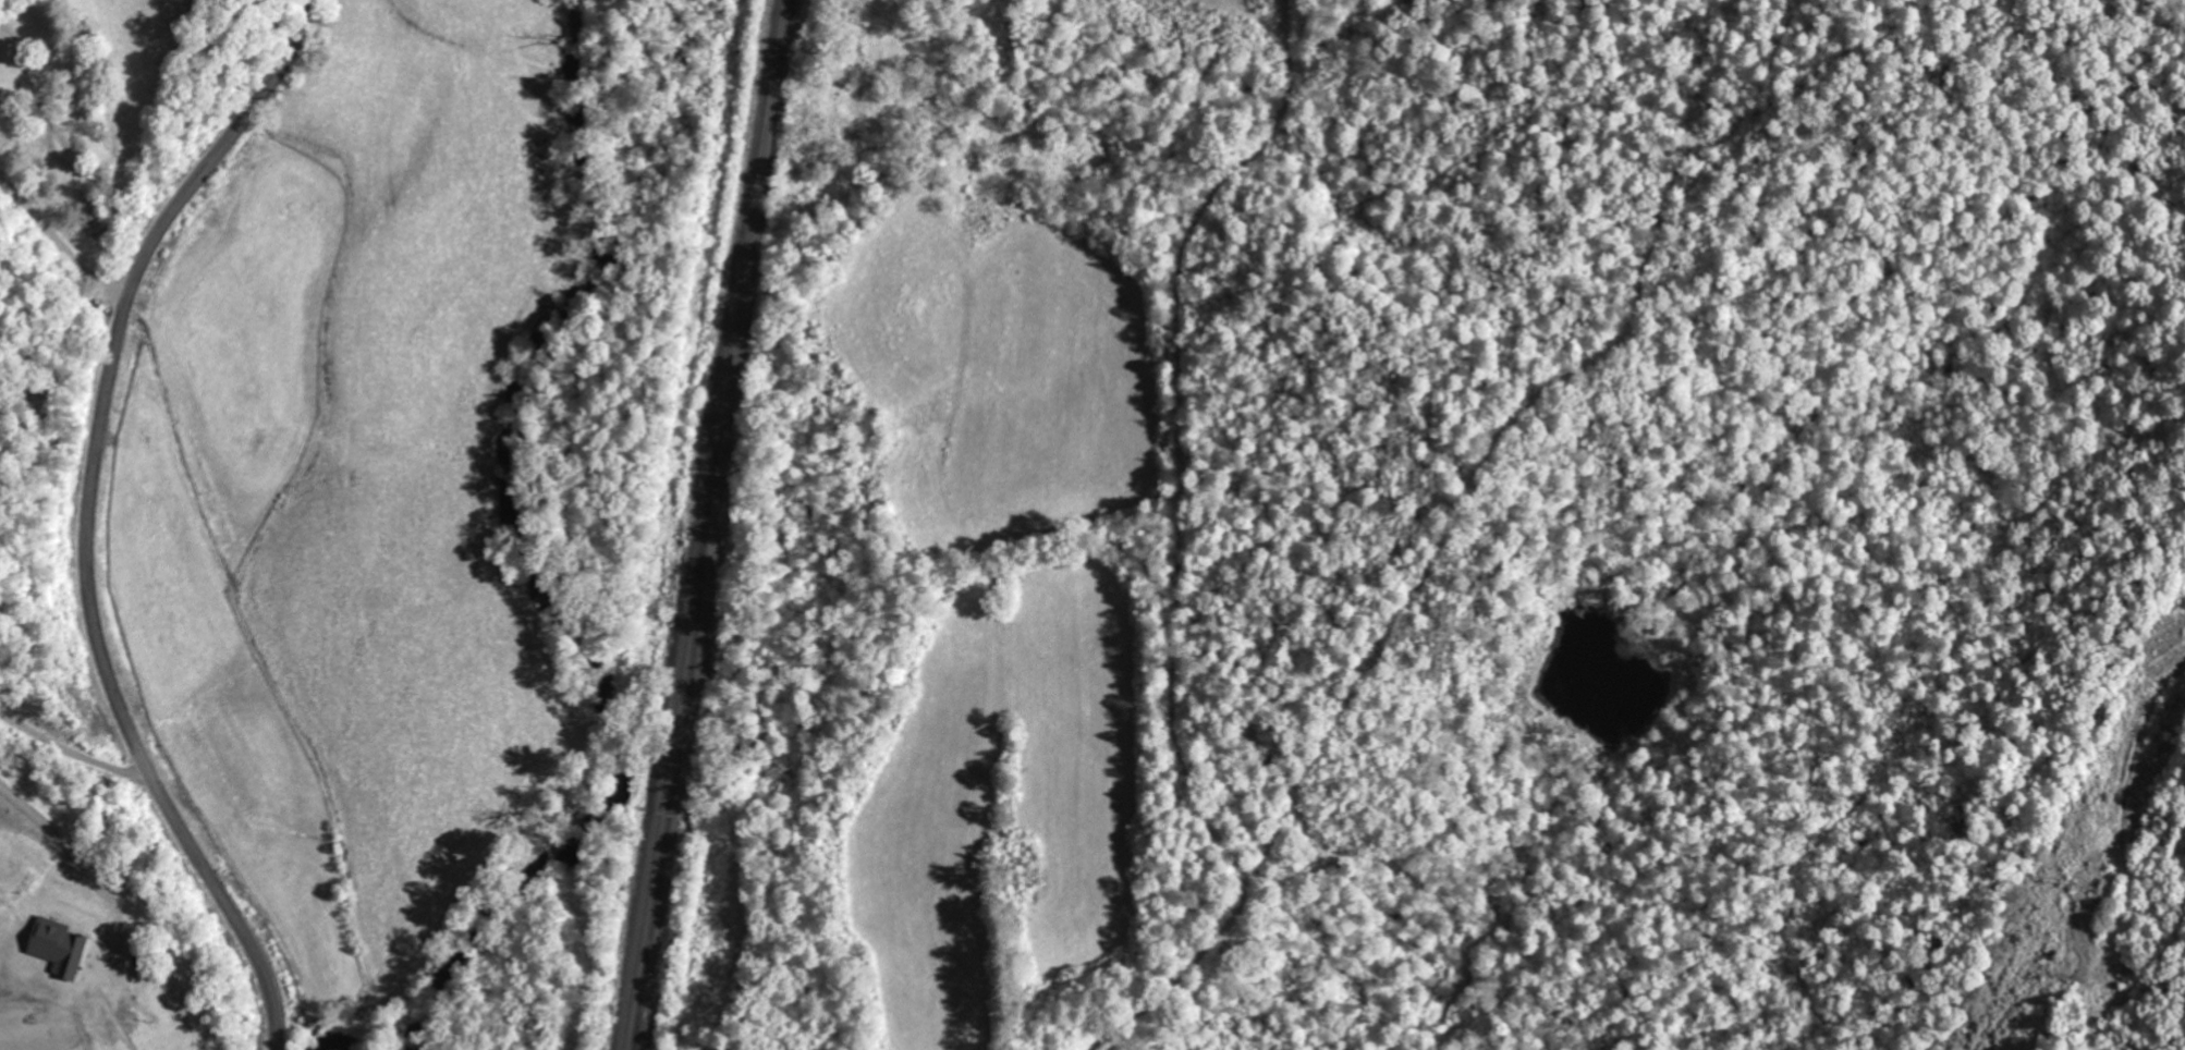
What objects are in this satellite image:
road: (89, 514)
railway: (710, 524)
building: (58, 948)

